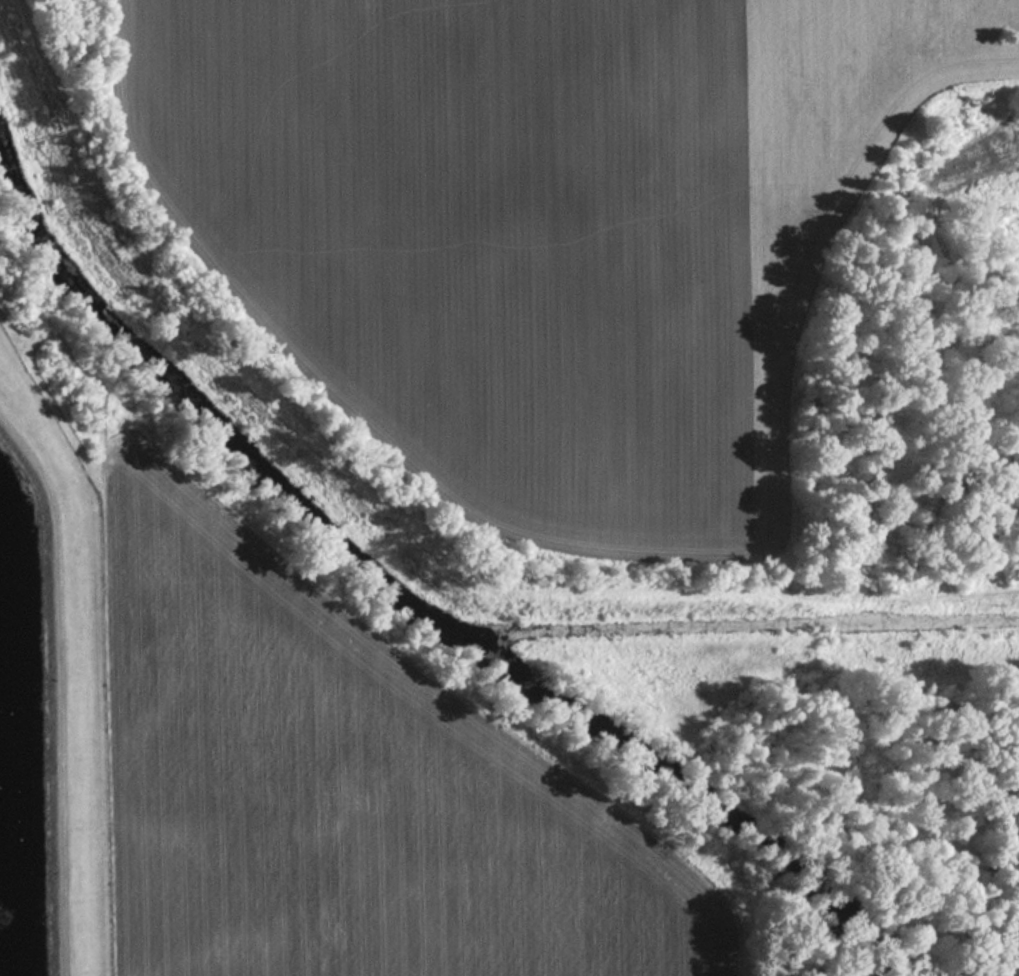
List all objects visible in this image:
road: (752, 588)
river: (413, 607)

